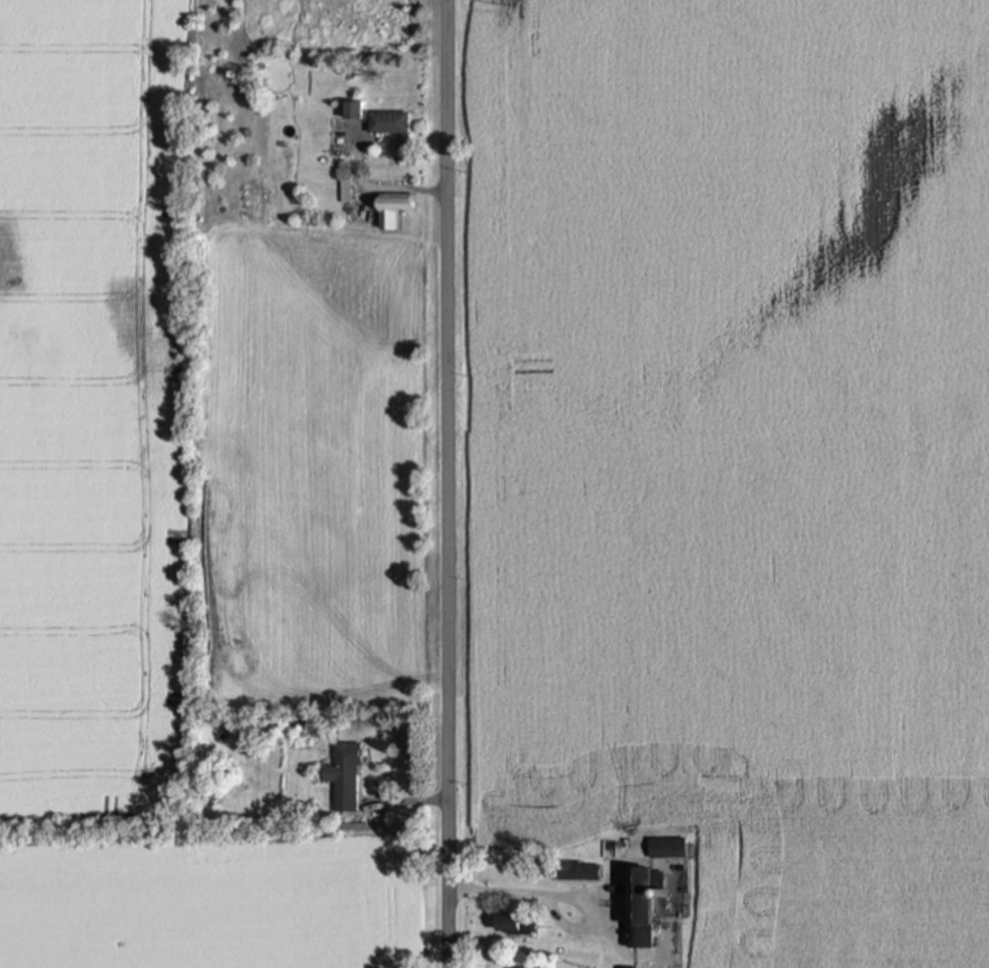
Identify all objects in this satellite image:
building: (352, 111)
building: (389, 123)
building: (391, 211)
road: (433, 483)
building: (344, 778)
building: (667, 849)
building: (575, 871)
road: (508, 890)
building: (642, 905)
building: (513, 924)
building: (626, 967)

